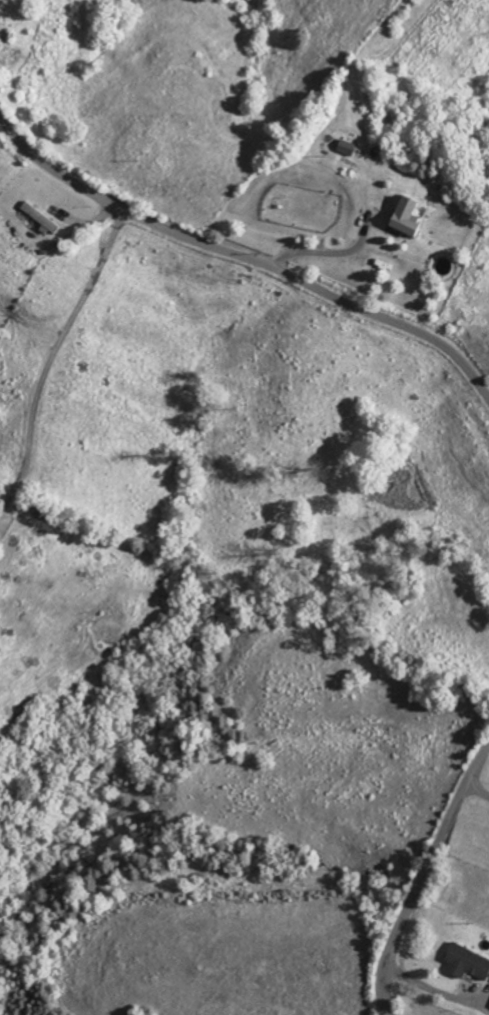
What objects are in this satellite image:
building: (40, 218)
building: (404, 218)
road: (328, 254)
road: (243, 259)
road: (51, 362)
road: (477, 793)
road: (423, 878)
building: (466, 964)
road: (438, 993)

